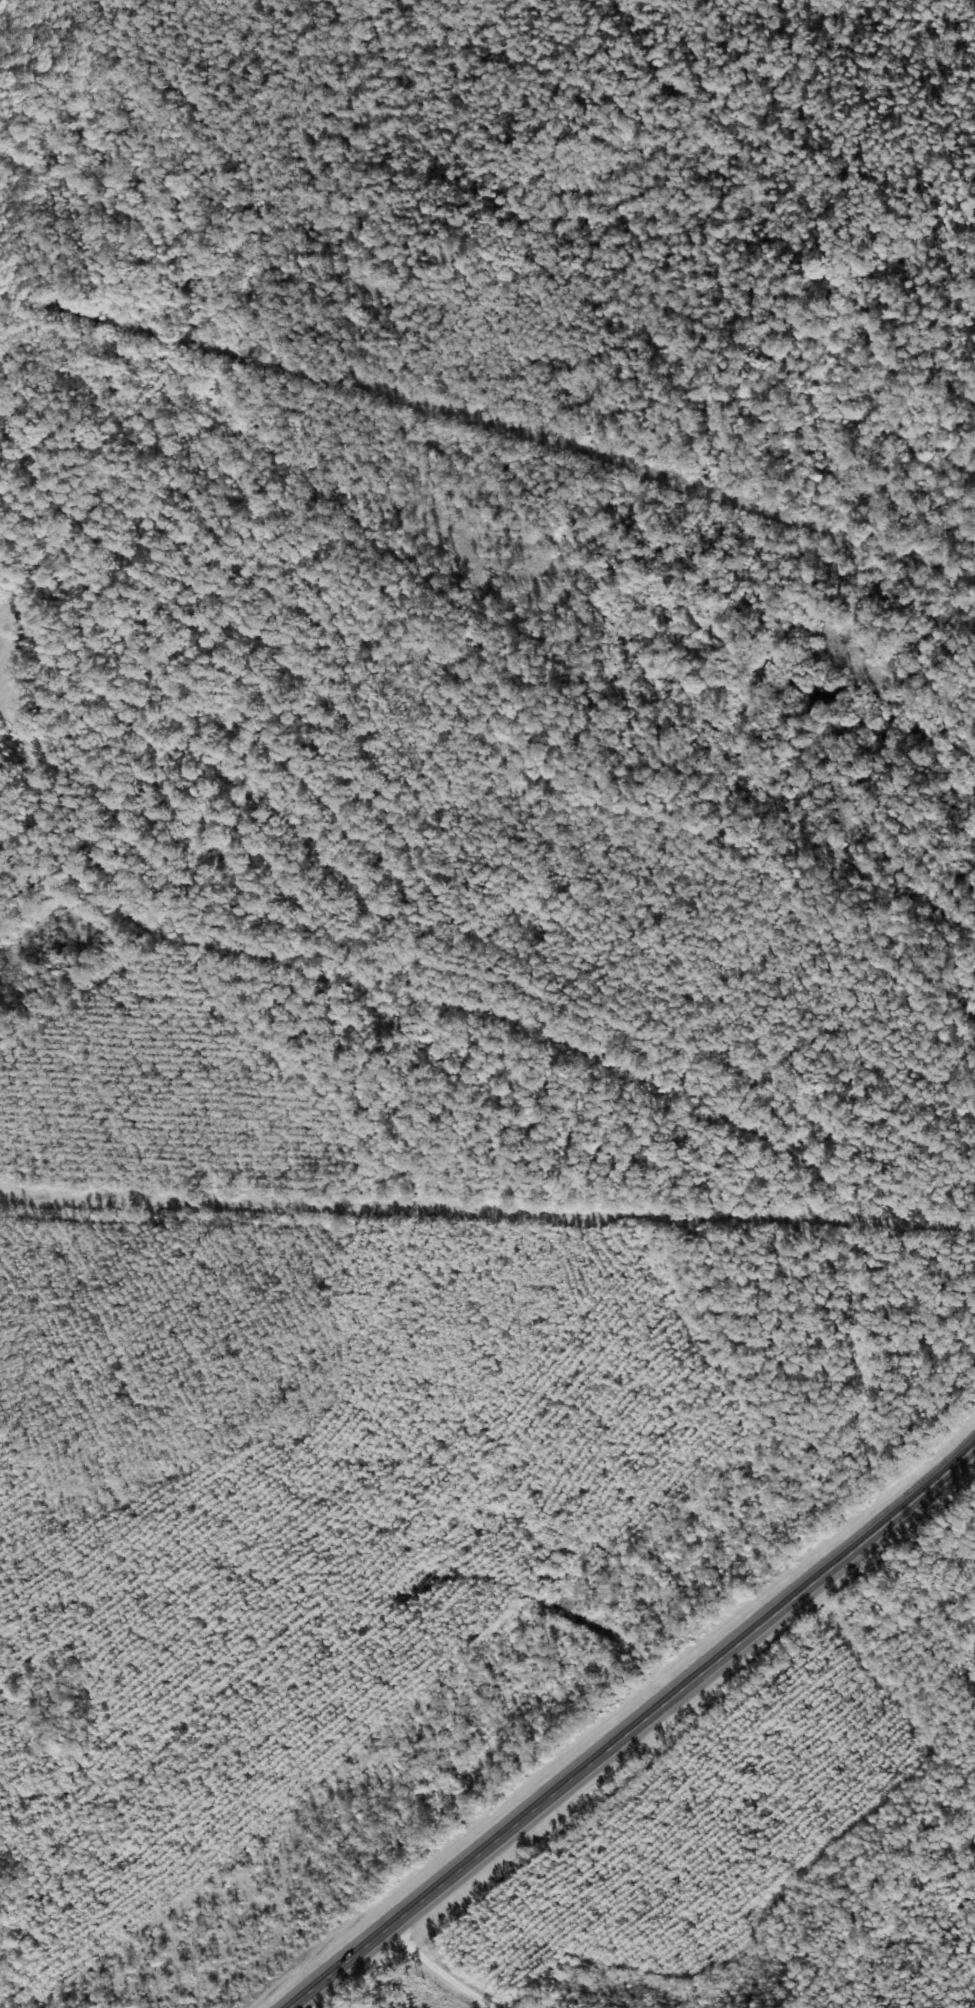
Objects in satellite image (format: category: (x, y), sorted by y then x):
road: (647, 1730)

